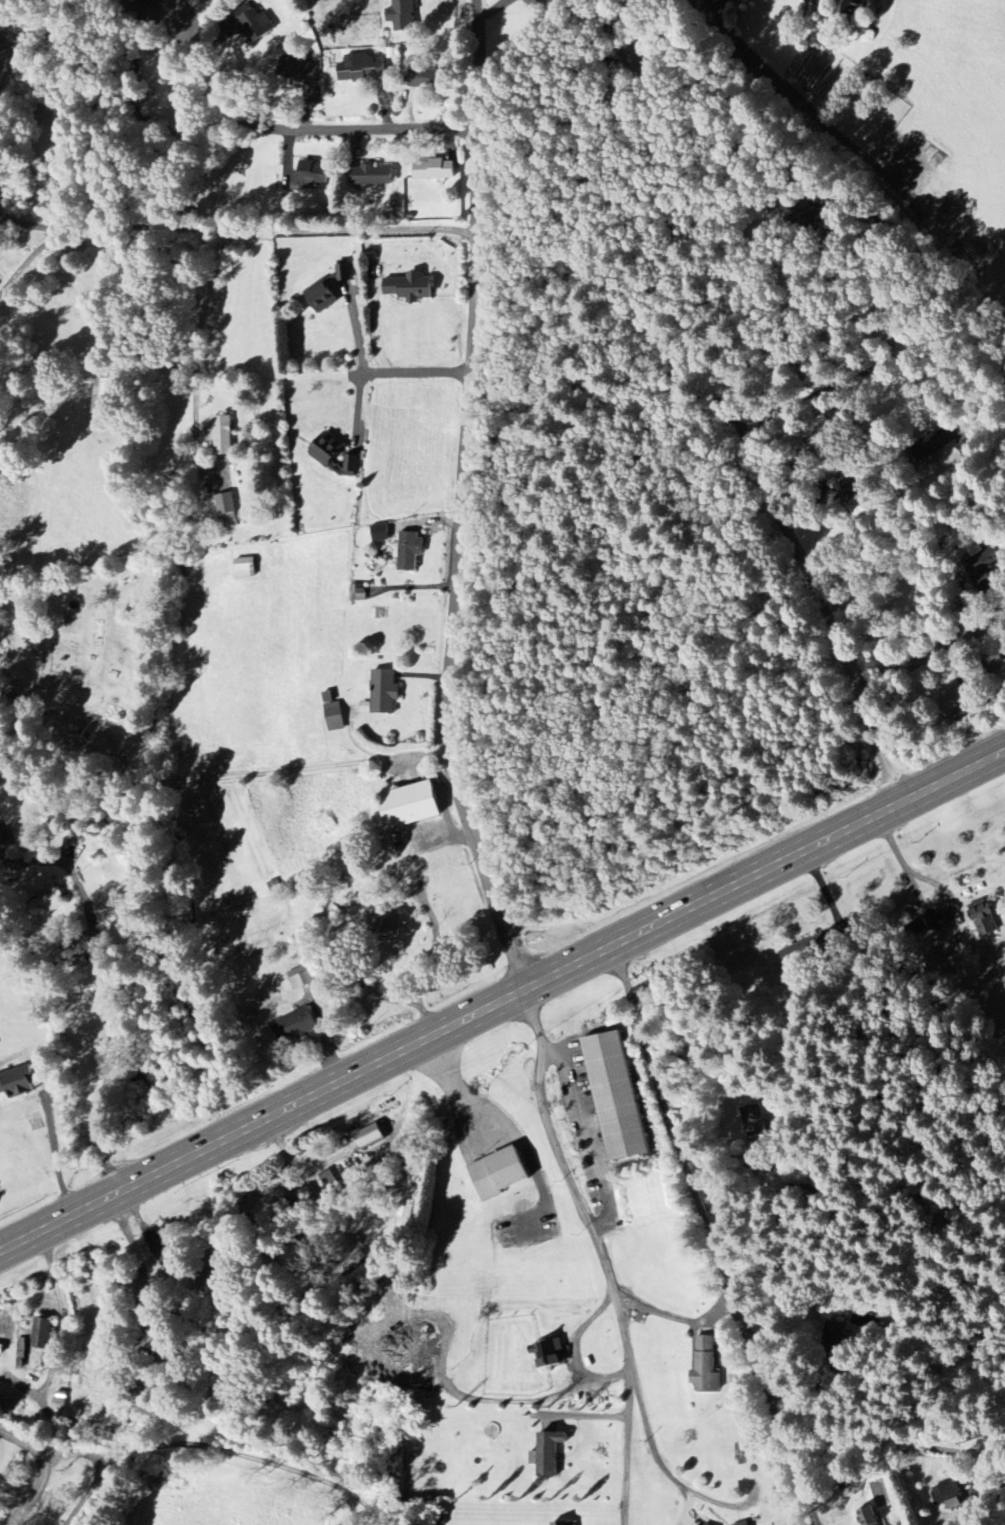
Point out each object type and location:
building: (538, 6)
building: (401, 15)
road: (199, 37)
building: (362, 69)
building: (296, 73)
building: (425, 80)
road: (484, 111)
road: (315, 125)
building: (434, 170)
building: (312, 175)
building: (372, 176)
road: (36, 225)
road: (275, 226)
road: (249, 242)
road: (32, 256)
road: (474, 266)
building: (343, 273)
road: (880, 279)
building: (409, 288)
road: (758, 293)
building: (320, 298)
road: (378, 327)
road: (356, 328)
road: (198, 344)
road: (410, 372)
road: (849, 375)
building: (102, 397)
road: (737, 408)
building: (221, 437)
building: (927, 449)
building: (332, 455)
building: (849, 496)
building: (226, 512)
building: (380, 533)
building: (409, 551)
building: (245, 569)
road: (413, 583)
building: (360, 592)
road: (933, 650)
road: (449, 655)
building: (384, 692)
road: (57, 701)
building: (957, 703)
building: (334, 717)
road: (269, 771)
building: (409, 805)
building: (0, 840)
road: (368, 872)
building: (47, 902)
road: (925, 906)
building: (983, 918)
building: (382, 923)
building: (804, 953)
building: (302, 979)
road: (500, 1001)
road: (110, 1009)
building: (294, 1026)
building: (17, 1084)
road: (454, 1084)
building: (614, 1097)
building: (756, 1121)
building: (368, 1137)
building: (498, 1174)
building: (329, 1182)
road: (711, 1239)
building: (164, 1250)
road: (605, 1252)
building: (358, 1258)
road: (59, 1301)
road: (679, 1318)
building: (428, 1327)
building: (41, 1334)
building: (20, 1353)
building: (548, 1355)
building: (705, 1368)
building: (59, 1402)
road: (901, 1428)
road: (246, 1453)
building: (547, 1455)
road: (108, 1463)
road: (41, 1470)
road: (665, 1472)
building: (947, 1497)
building: (866, 1517)
building: (743, 1523)
building: (564, 1524)
building: (704, 1524)

